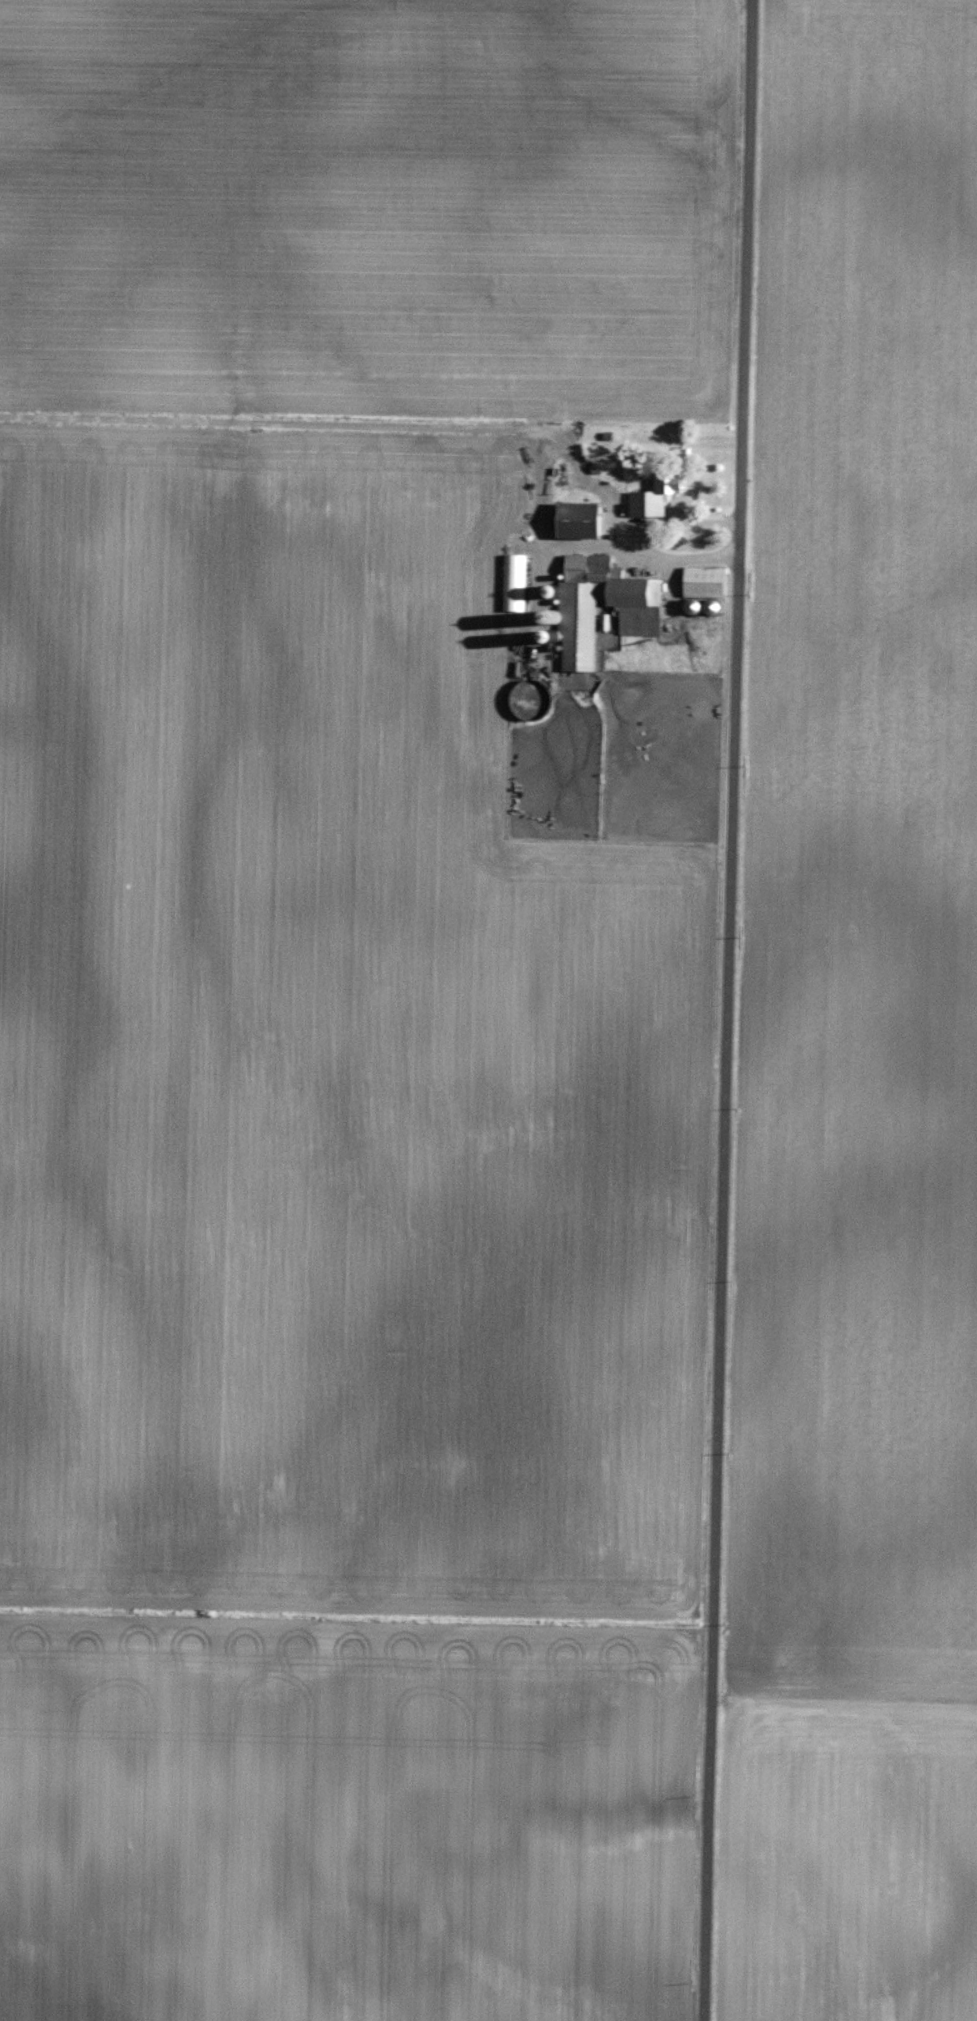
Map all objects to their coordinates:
road: (662, 523)
road: (604, 546)
road: (724, 1010)

